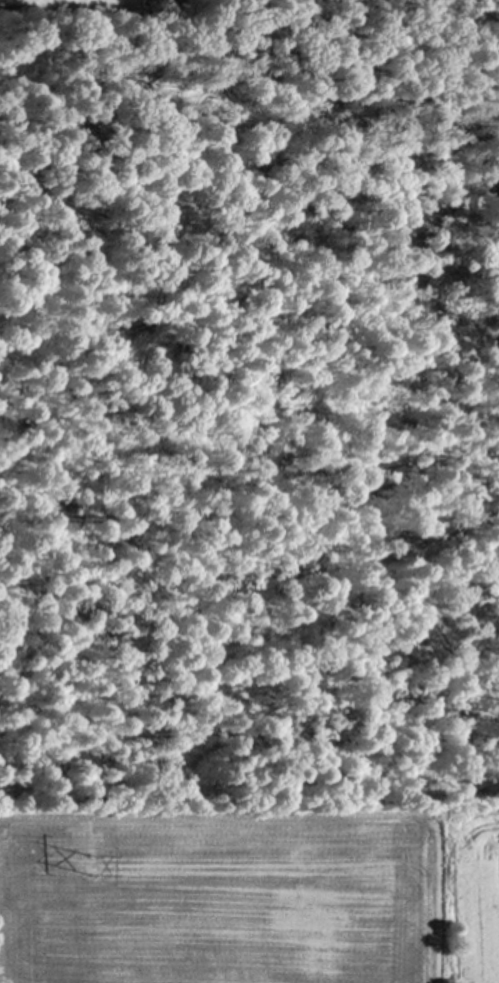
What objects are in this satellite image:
power tower: (95, 867)

